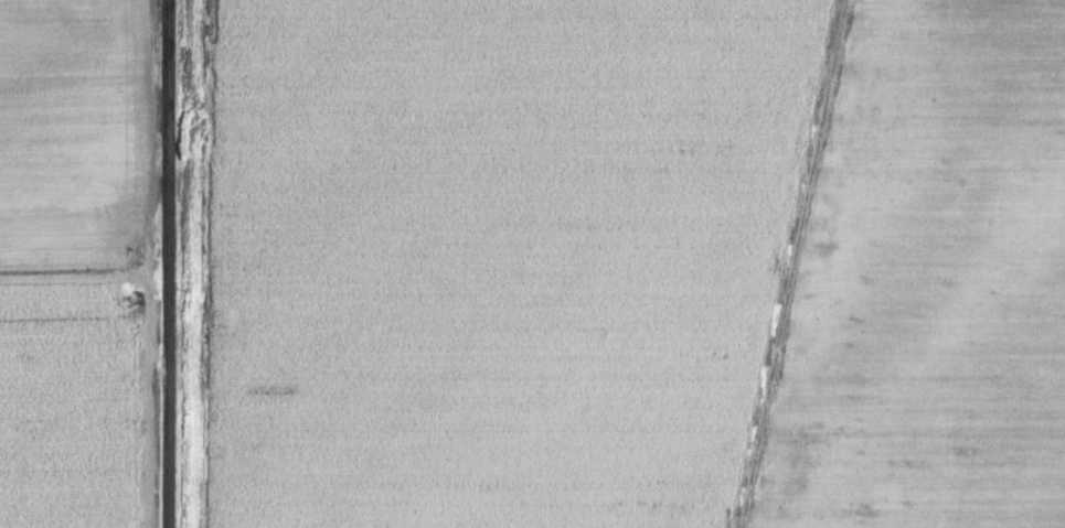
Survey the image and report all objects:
road: (168, 263)
road: (808, 263)
road: (84, 395)

